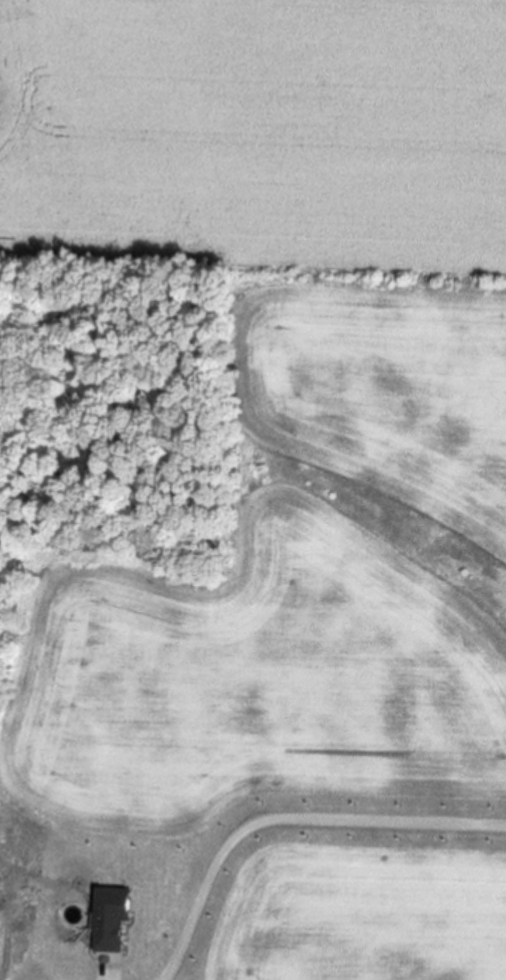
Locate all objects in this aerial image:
road: (286, 819)
building: (116, 918)

